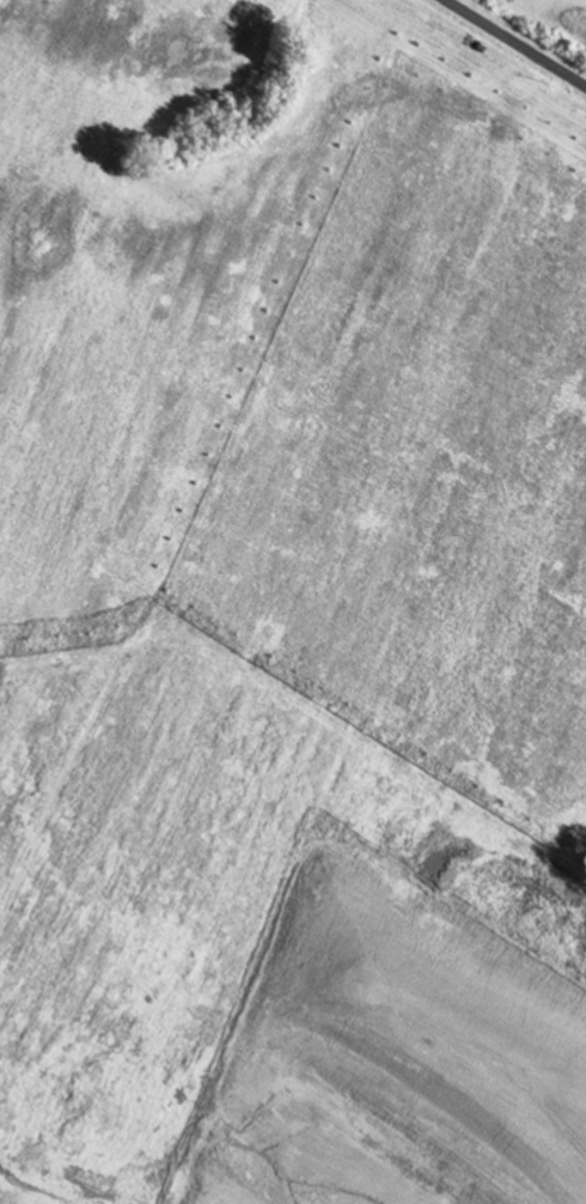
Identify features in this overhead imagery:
road: (517, 41)

